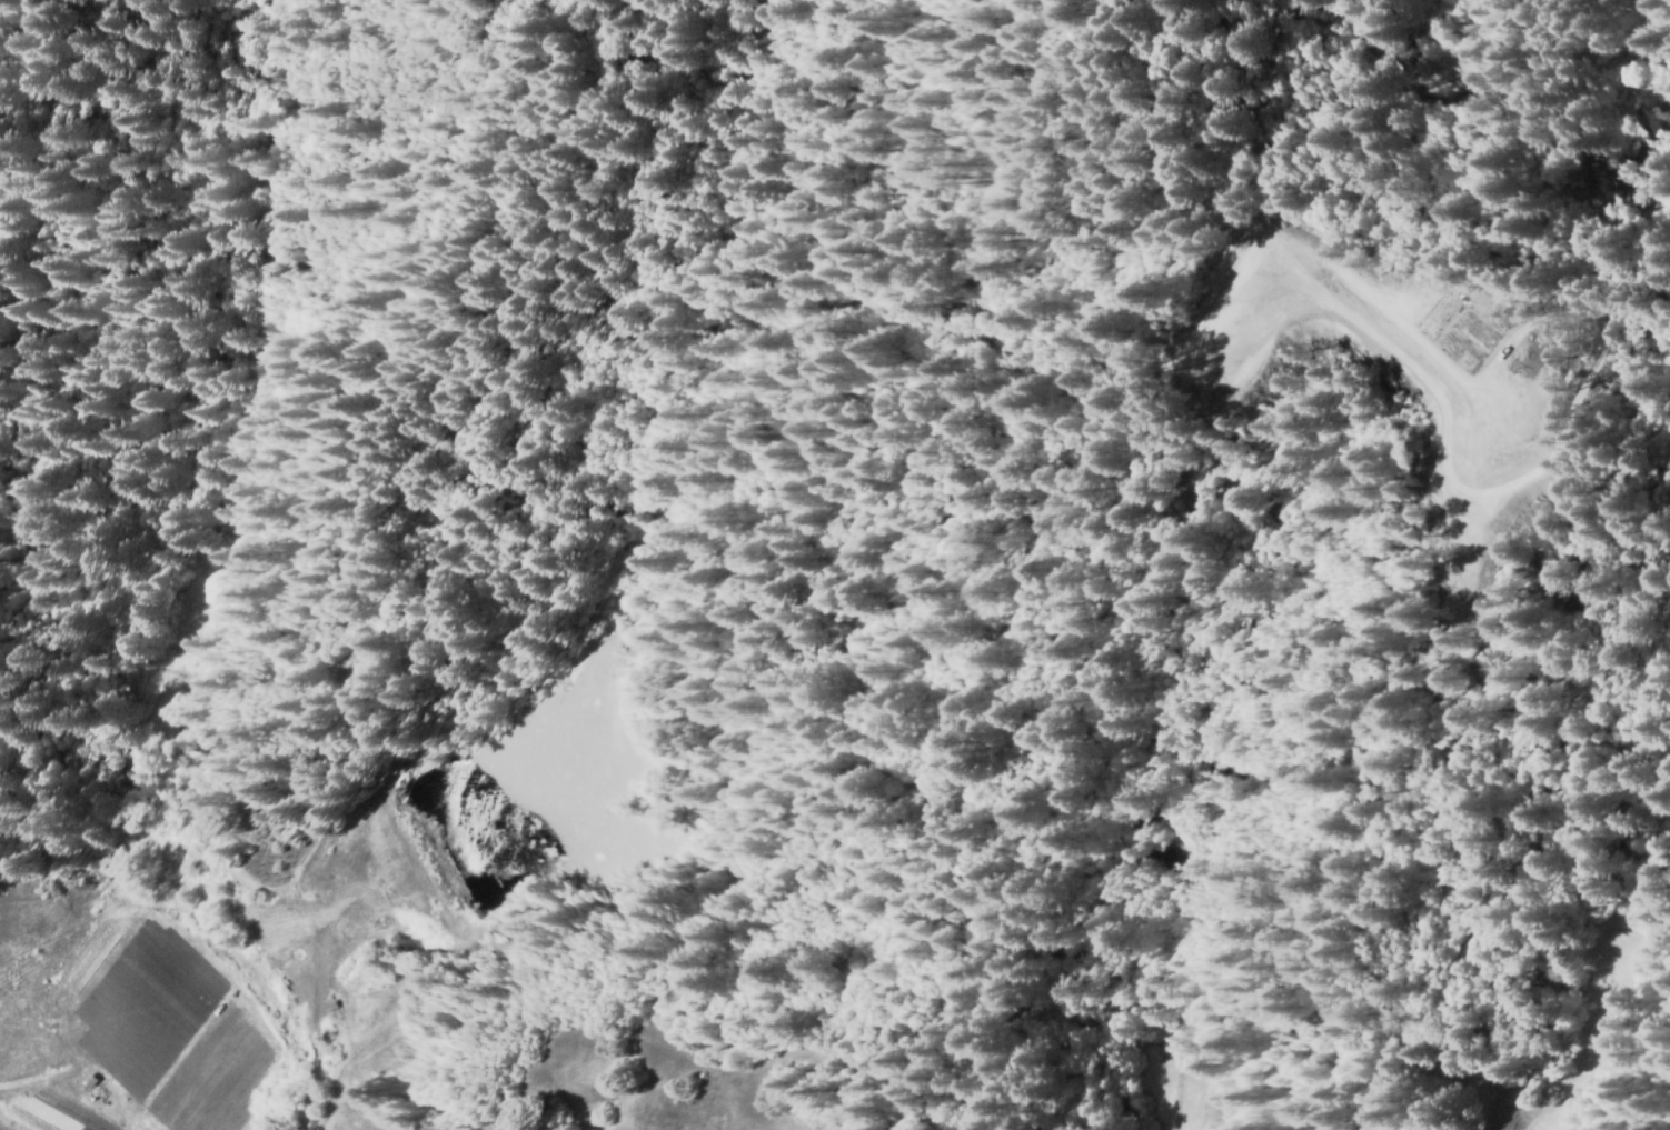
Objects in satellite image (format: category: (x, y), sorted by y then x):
road: (332, 1078)

